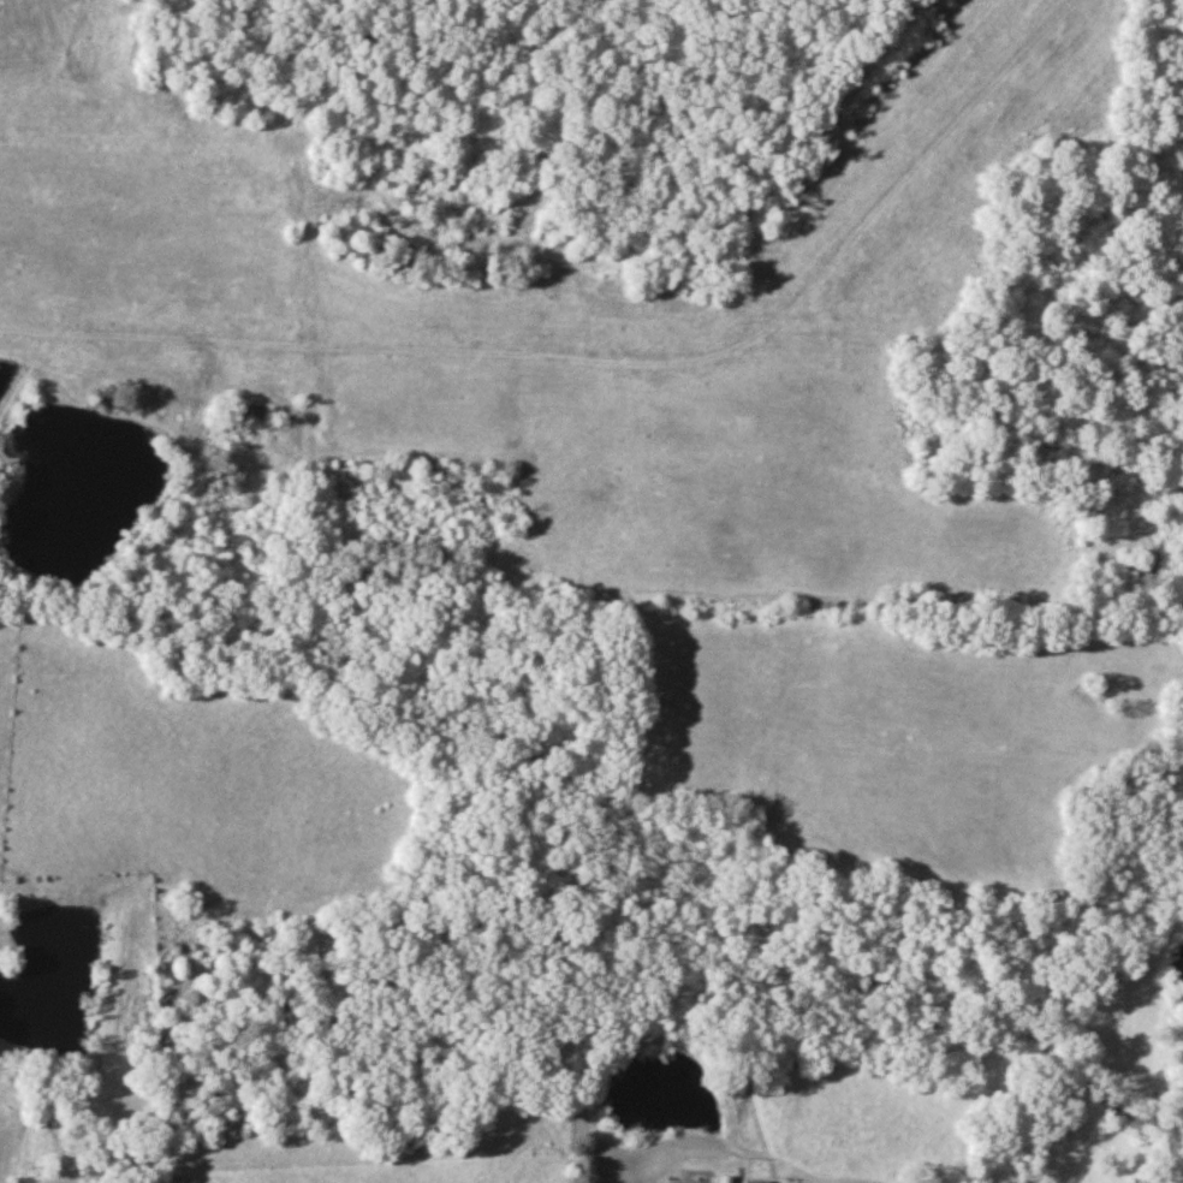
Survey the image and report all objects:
building: (754, 1181)

